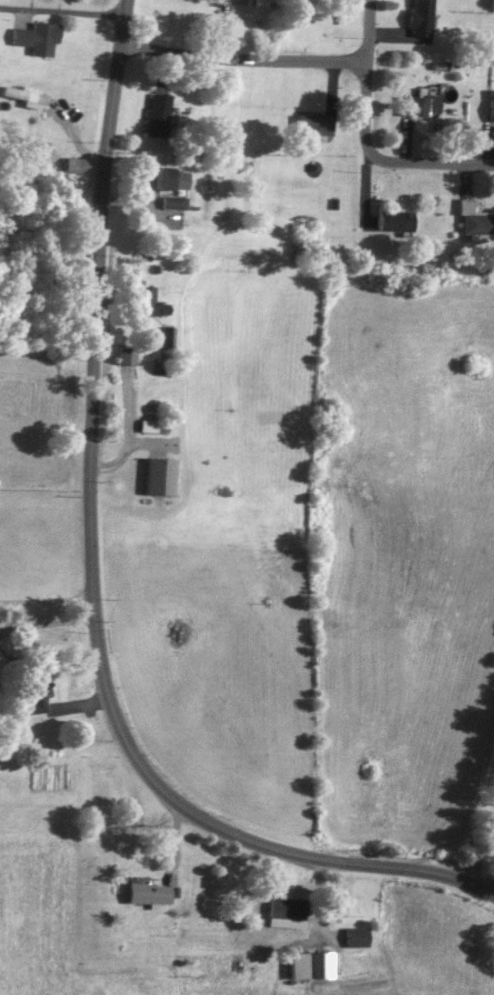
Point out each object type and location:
building: (238, 1)
road: (72, 14)
building: (419, 18)
road: (365, 31)
building: (36, 38)
road: (240, 59)
building: (422, 106)
building: (490, 106)
building: (156, 116)
building: (38, 121)
building: (312, 126)
road: (383, 161)
building: (79, 166)
building: (163, 178)
building: (394, 222)
building: (475, 222)
building: (141, 304)
building: (124, 356)
building: (146, 427)
building: (158, 477)
road: (91, 584)
road: (45, 600)
building: (34, 693)
road: (484, 847)
building: (148, 894)
building: (284, 906)
building: (355, 937)
building: (249, 949)
building: (311, 966)

